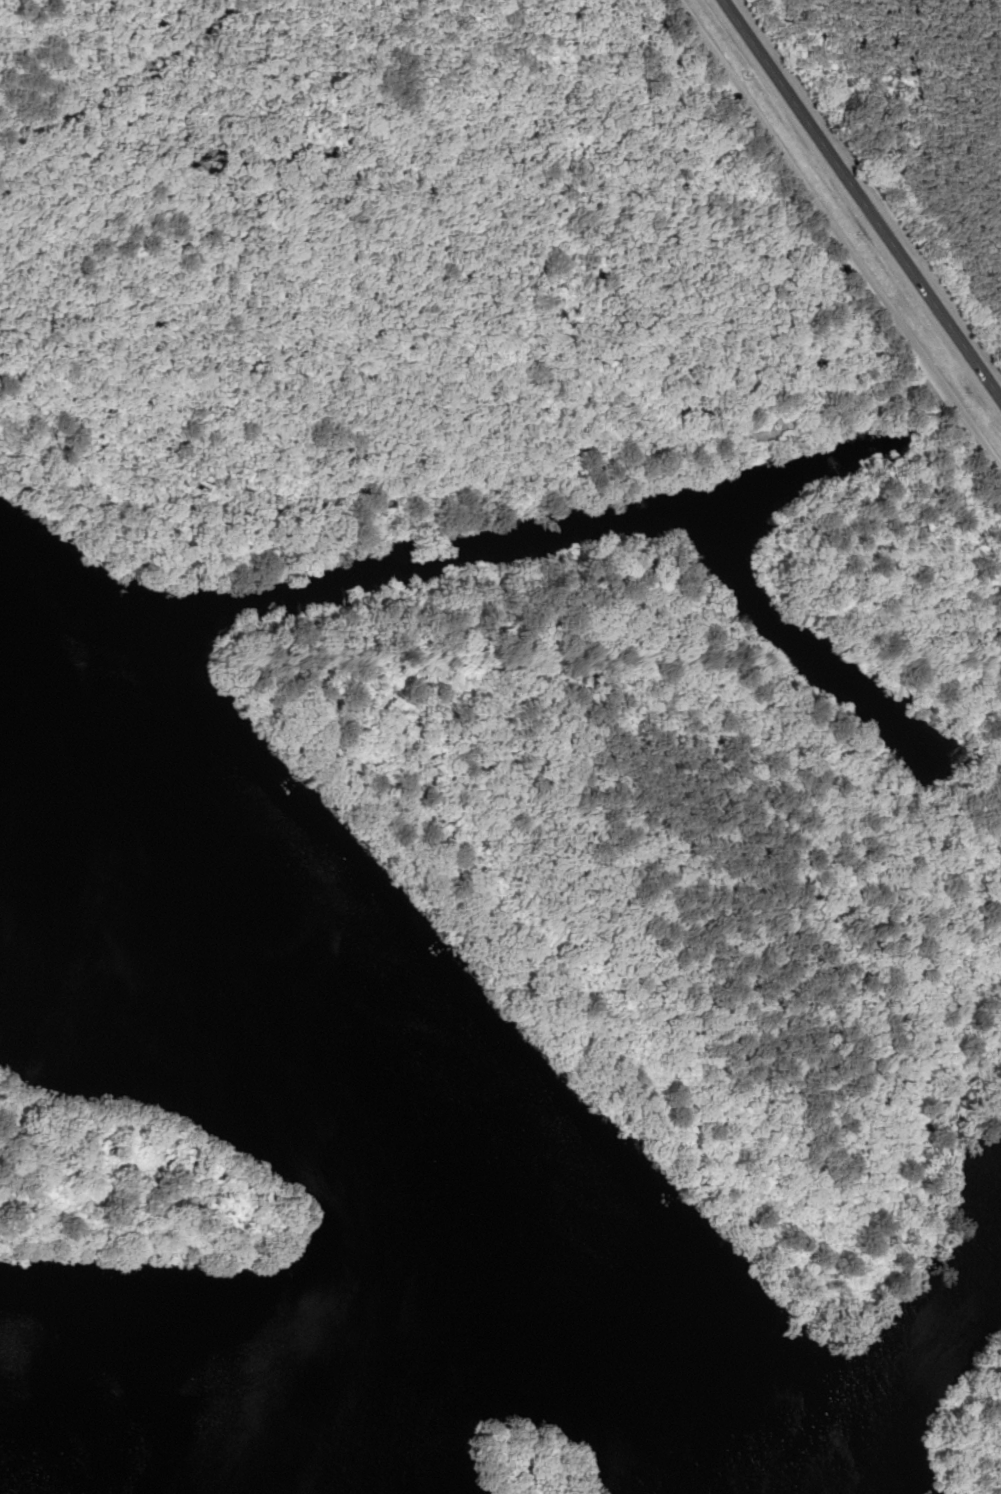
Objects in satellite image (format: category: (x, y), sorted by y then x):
road: (860, 198)

